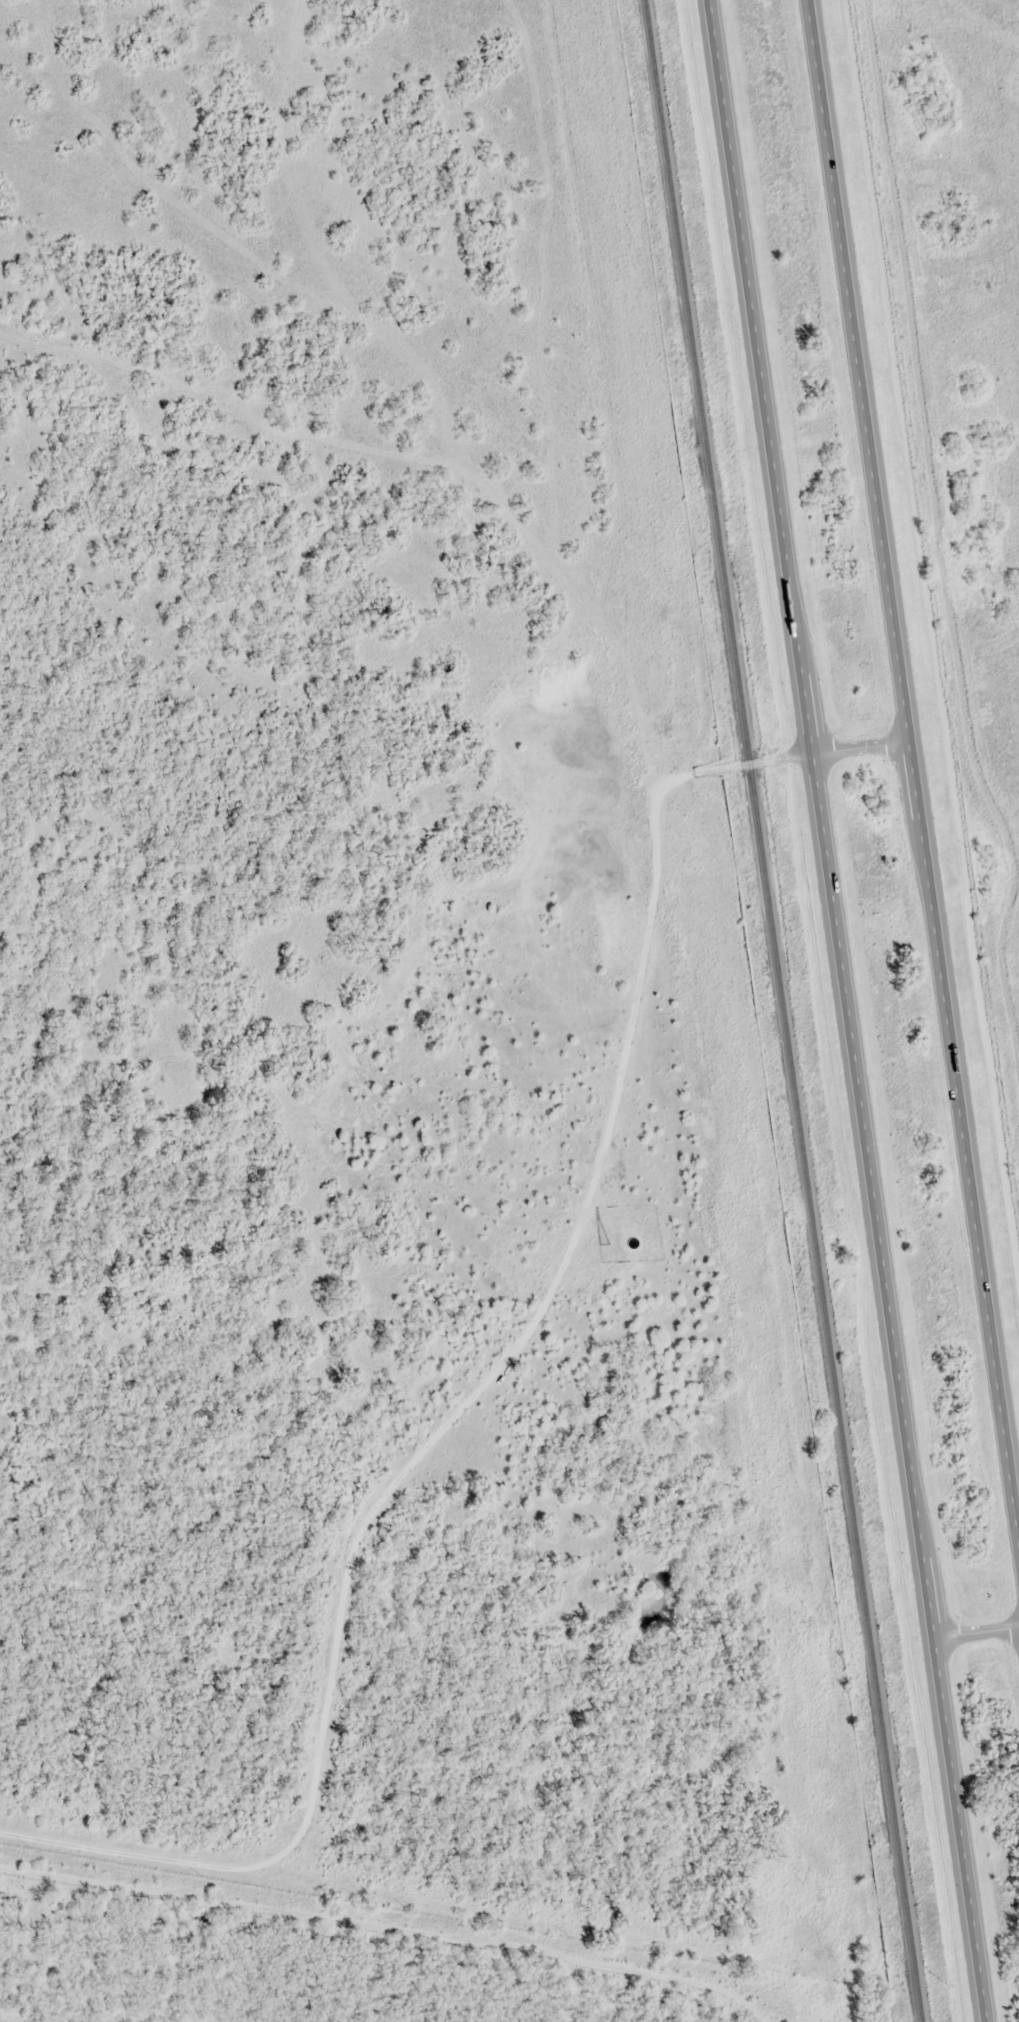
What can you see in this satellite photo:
road: (915, 761)
road: (826, 819)
railway: (777, 1011)
road: (466, 1391)
road: (979, 1633)
road: (962, 1830)

